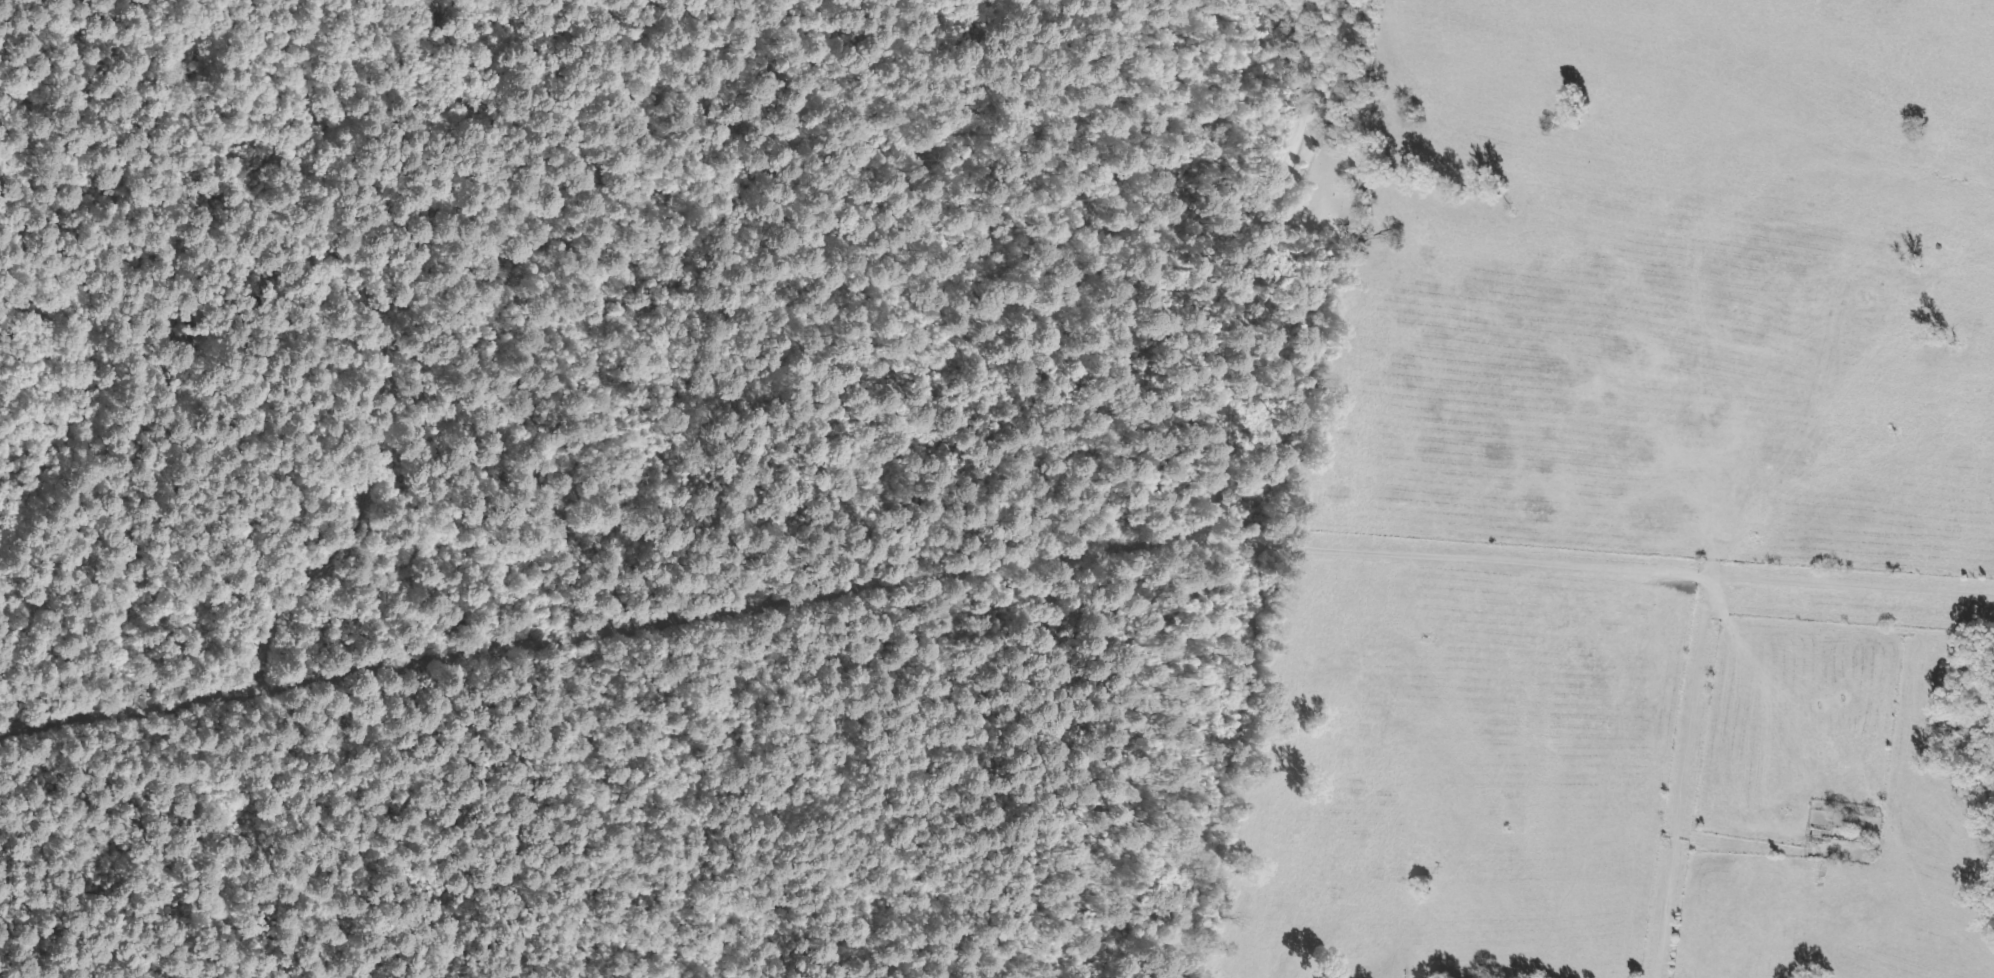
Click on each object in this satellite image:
park: (1335, 196)
road: (1272, 275)
road: (993, 567)

